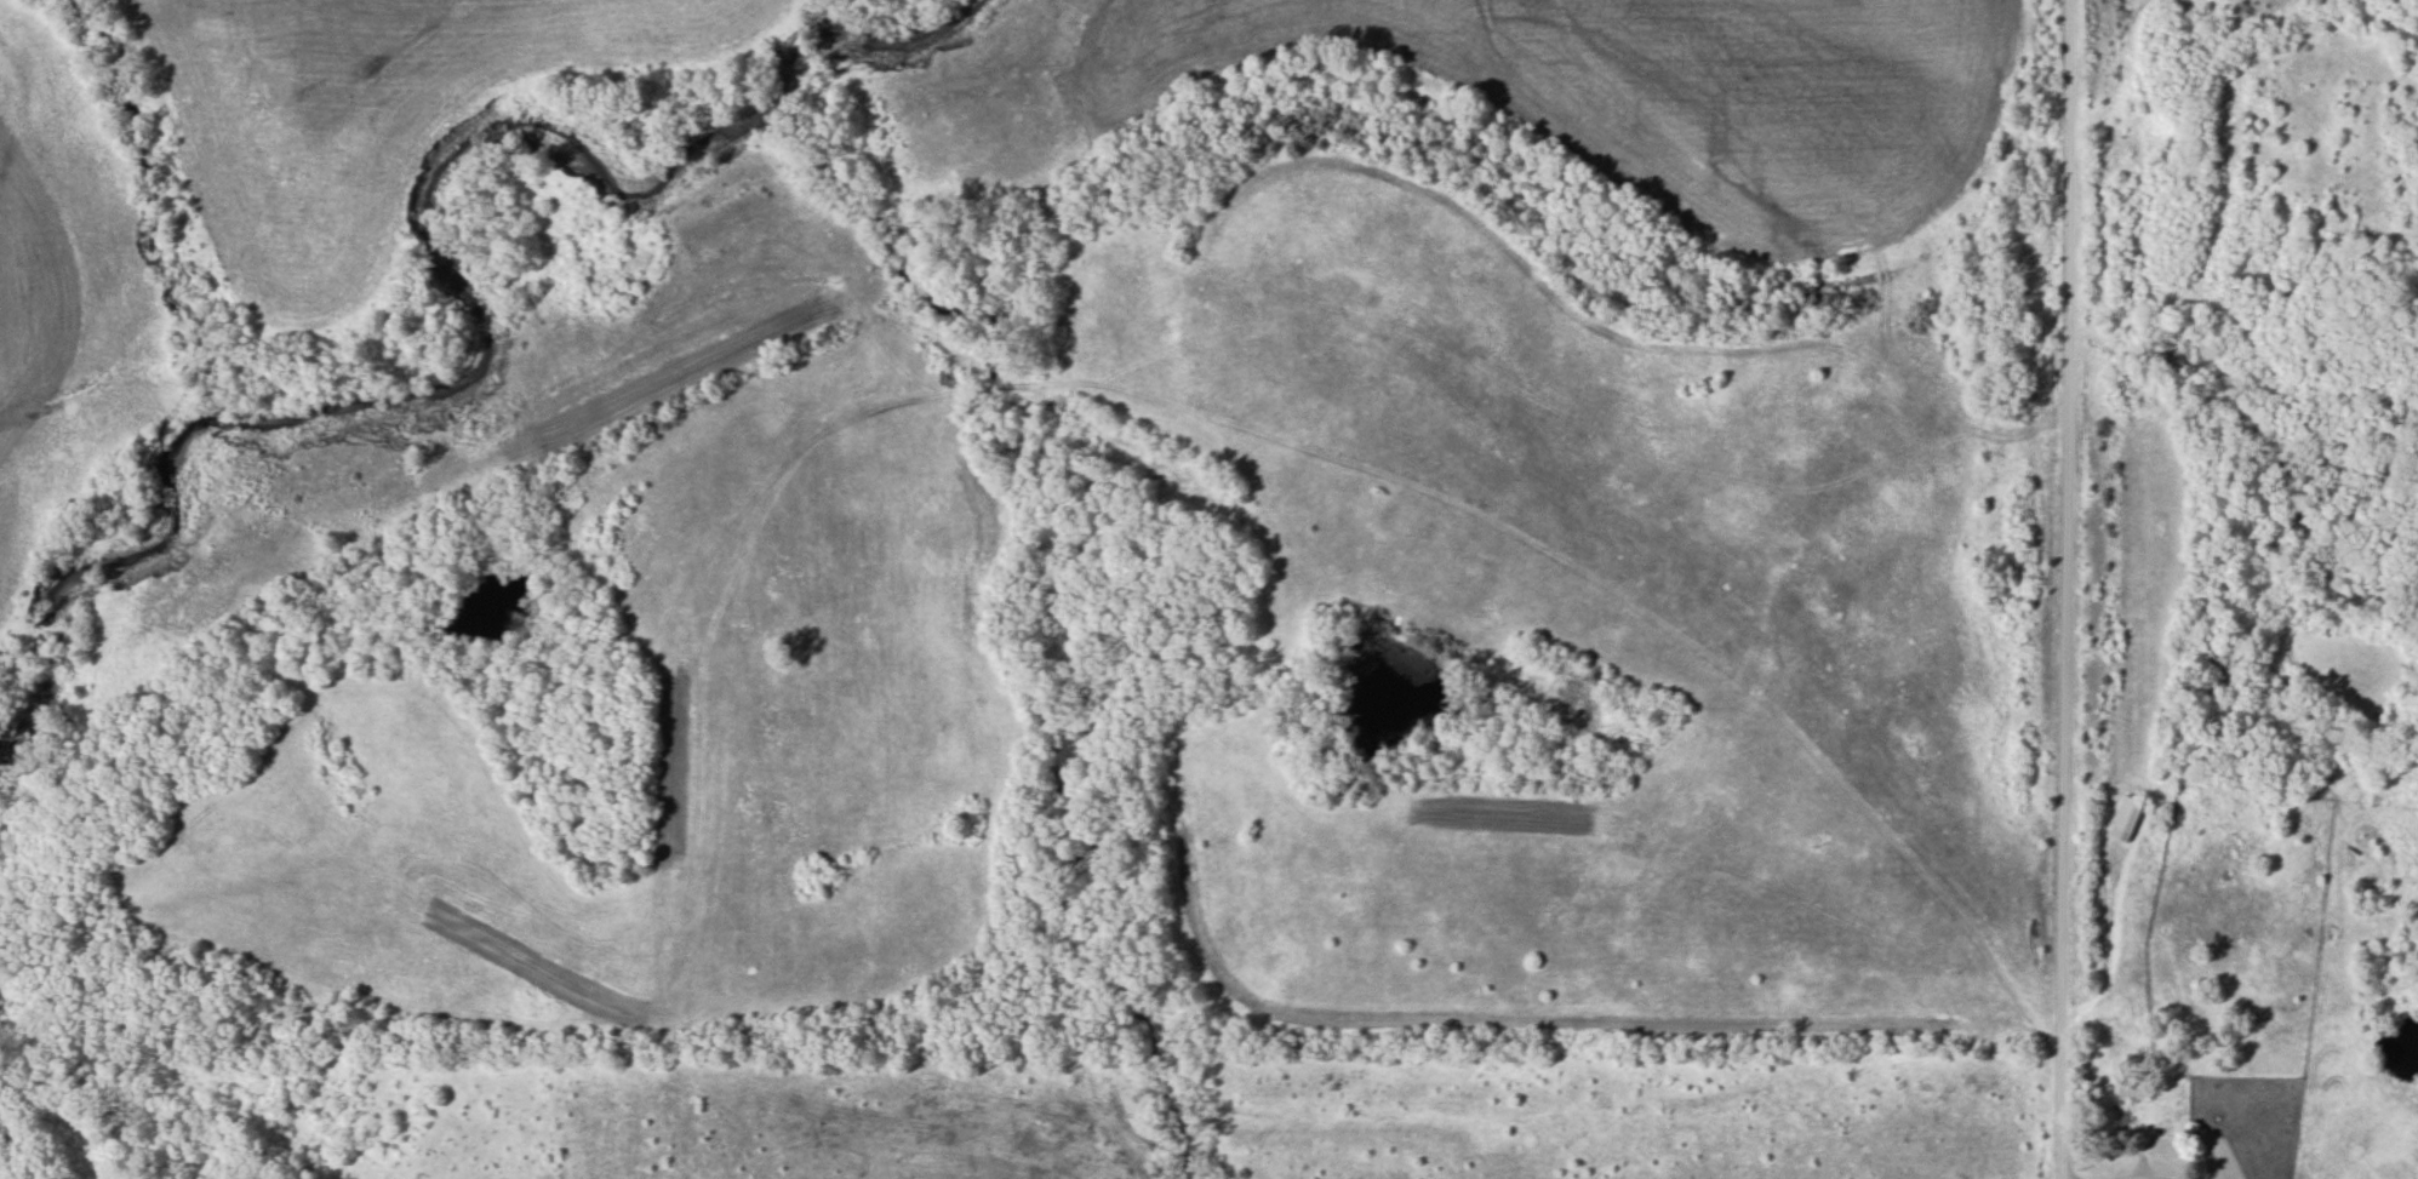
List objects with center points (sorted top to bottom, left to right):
road: (2069, 589)
building: (2121, 818)
building: (2130, 1086)

